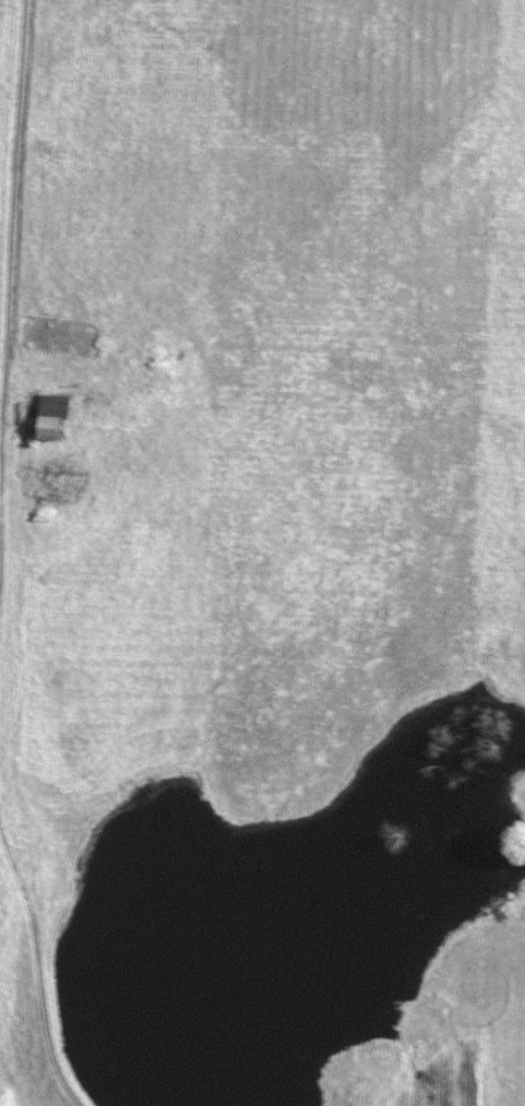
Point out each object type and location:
road: (10, 187)
building: (46, 427)

